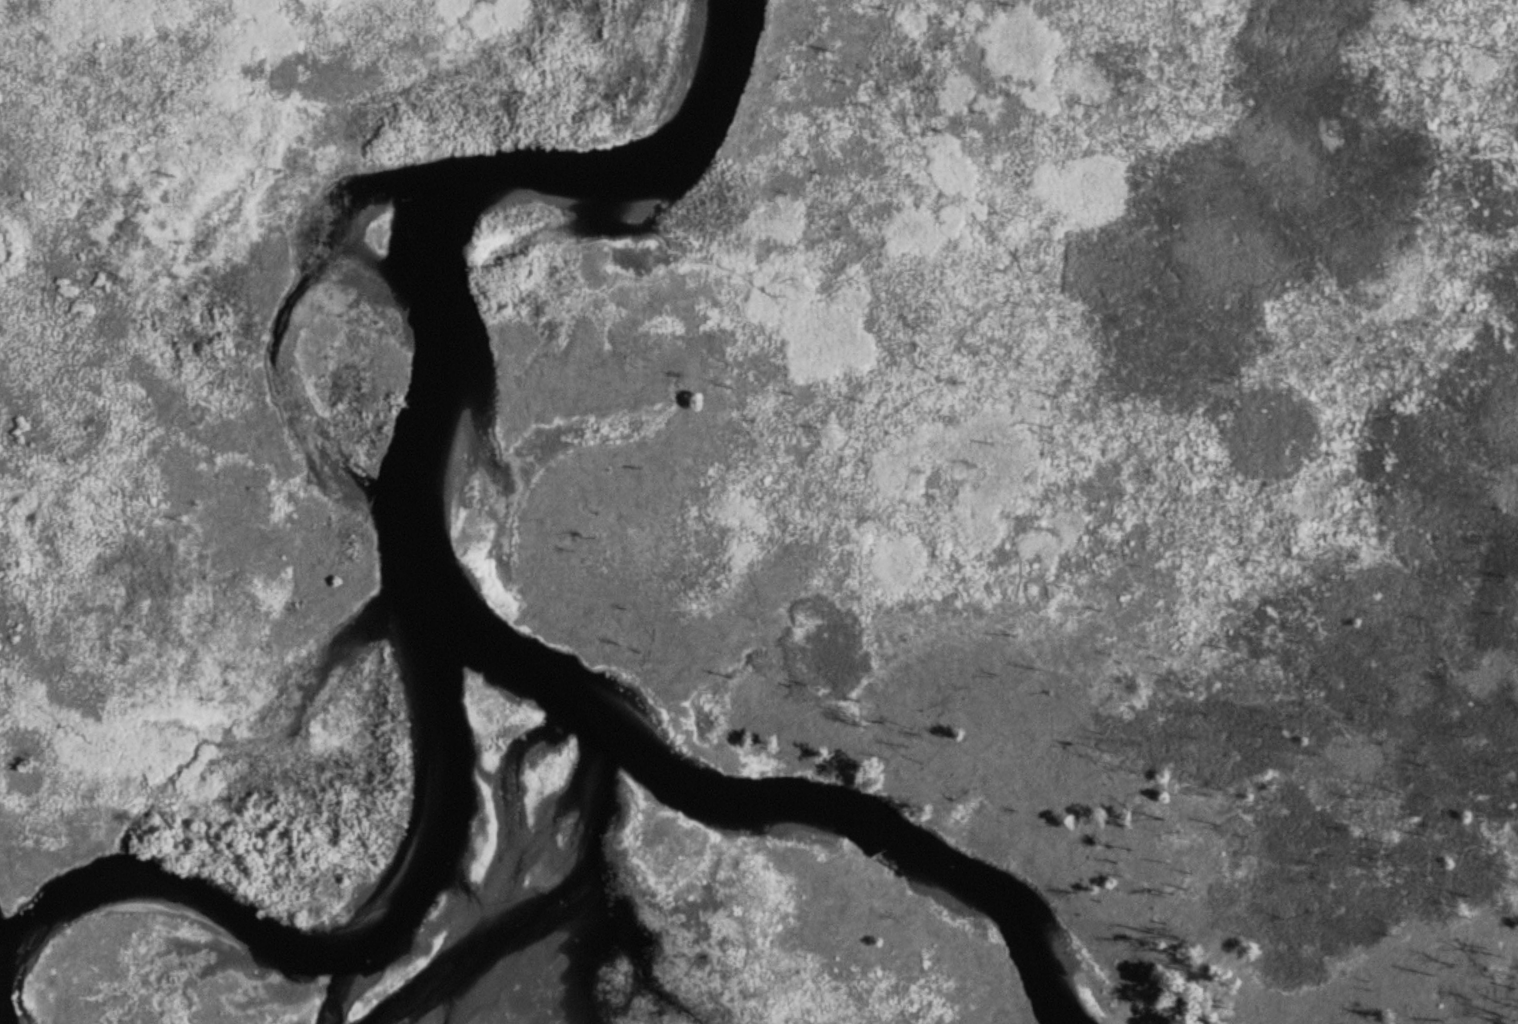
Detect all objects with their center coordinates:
river: (419, 610)

